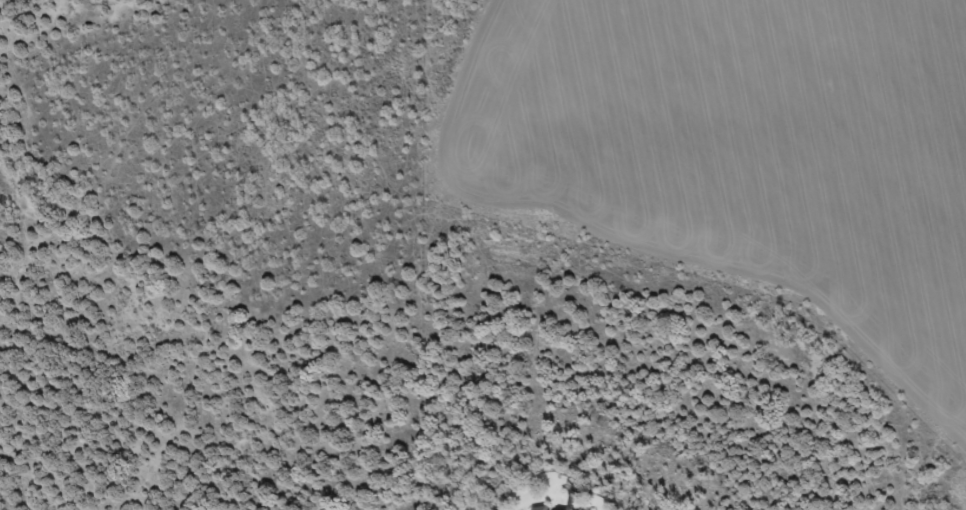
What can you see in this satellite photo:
building: (540, 508)
building: (563, 509)

